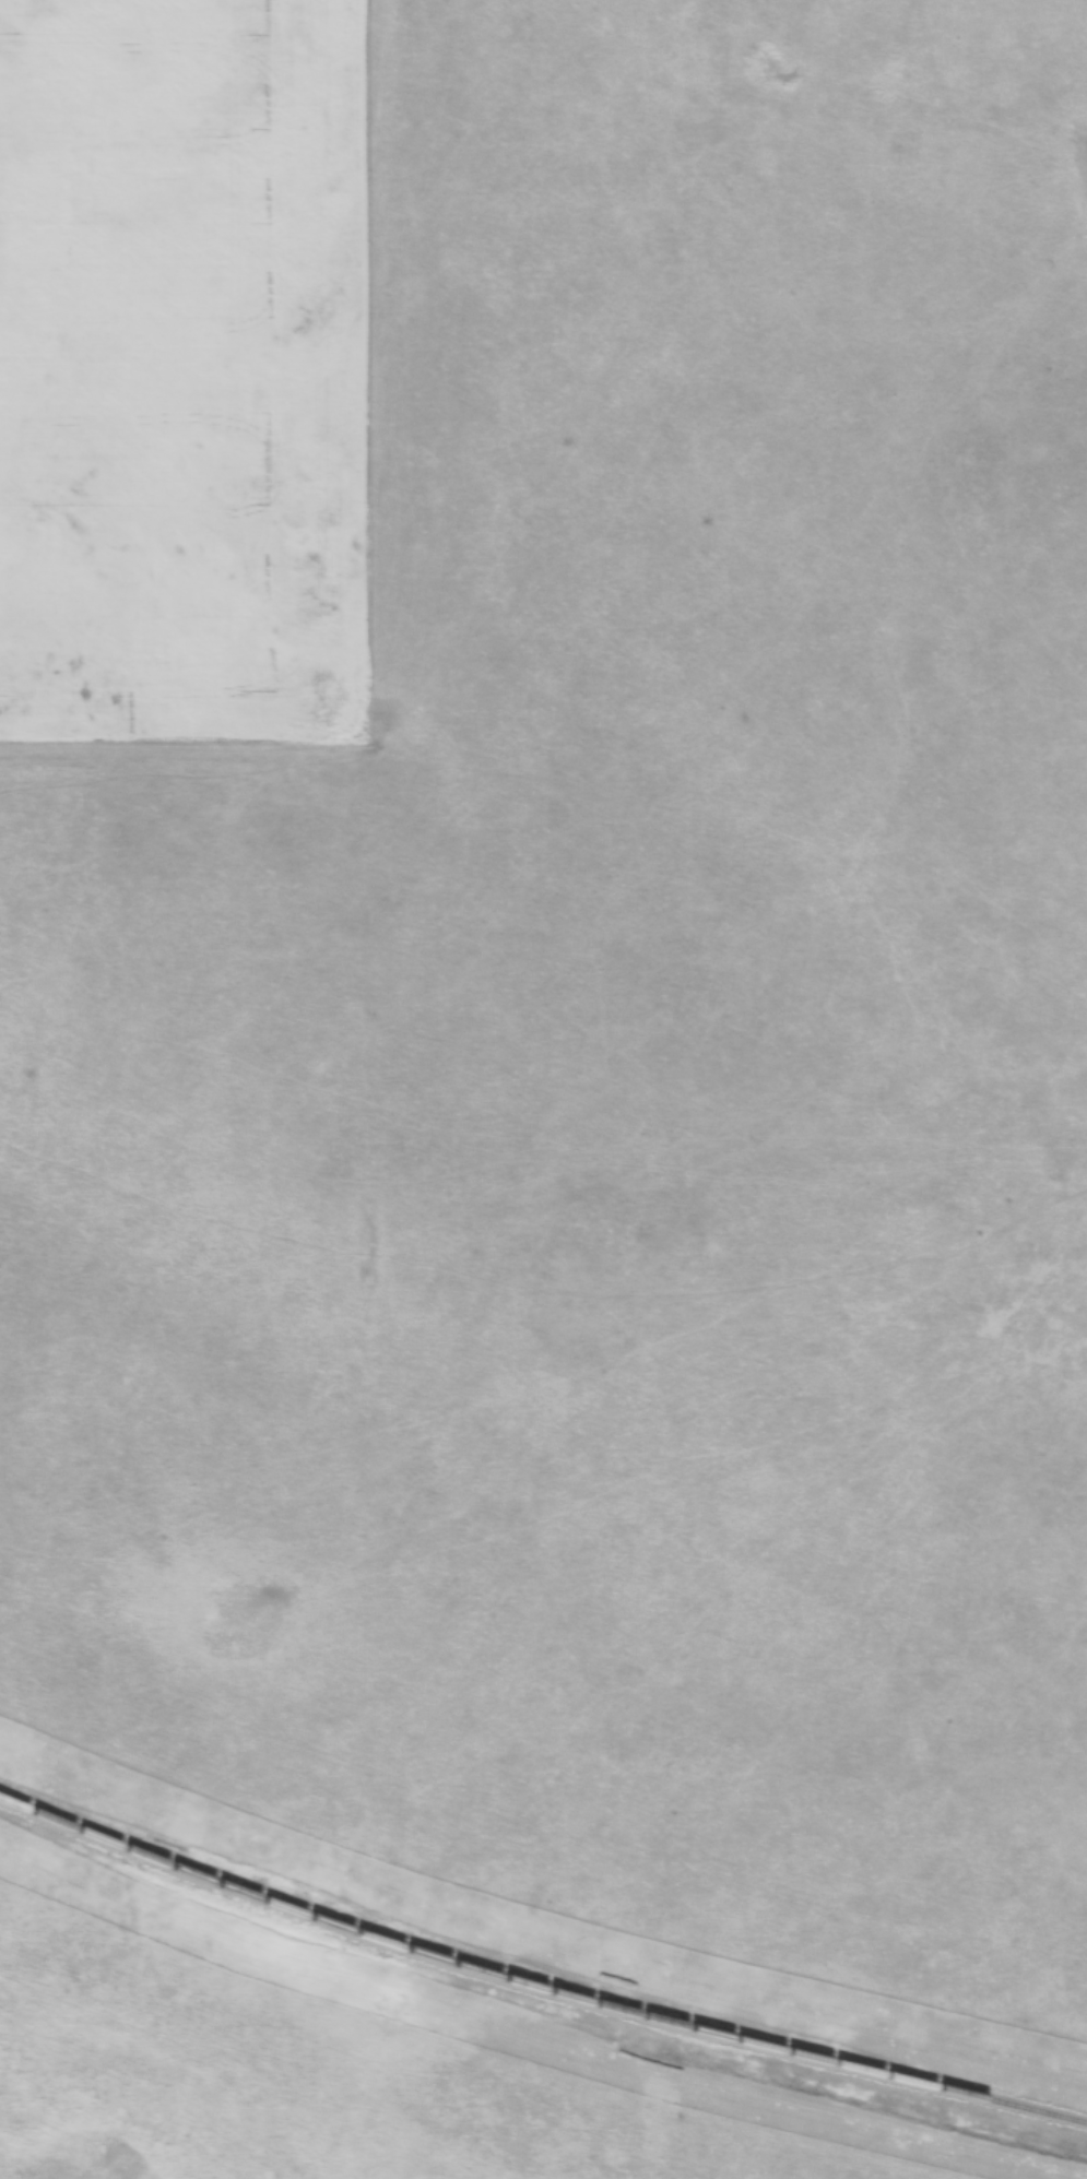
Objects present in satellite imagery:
railway: (534, 1987)

